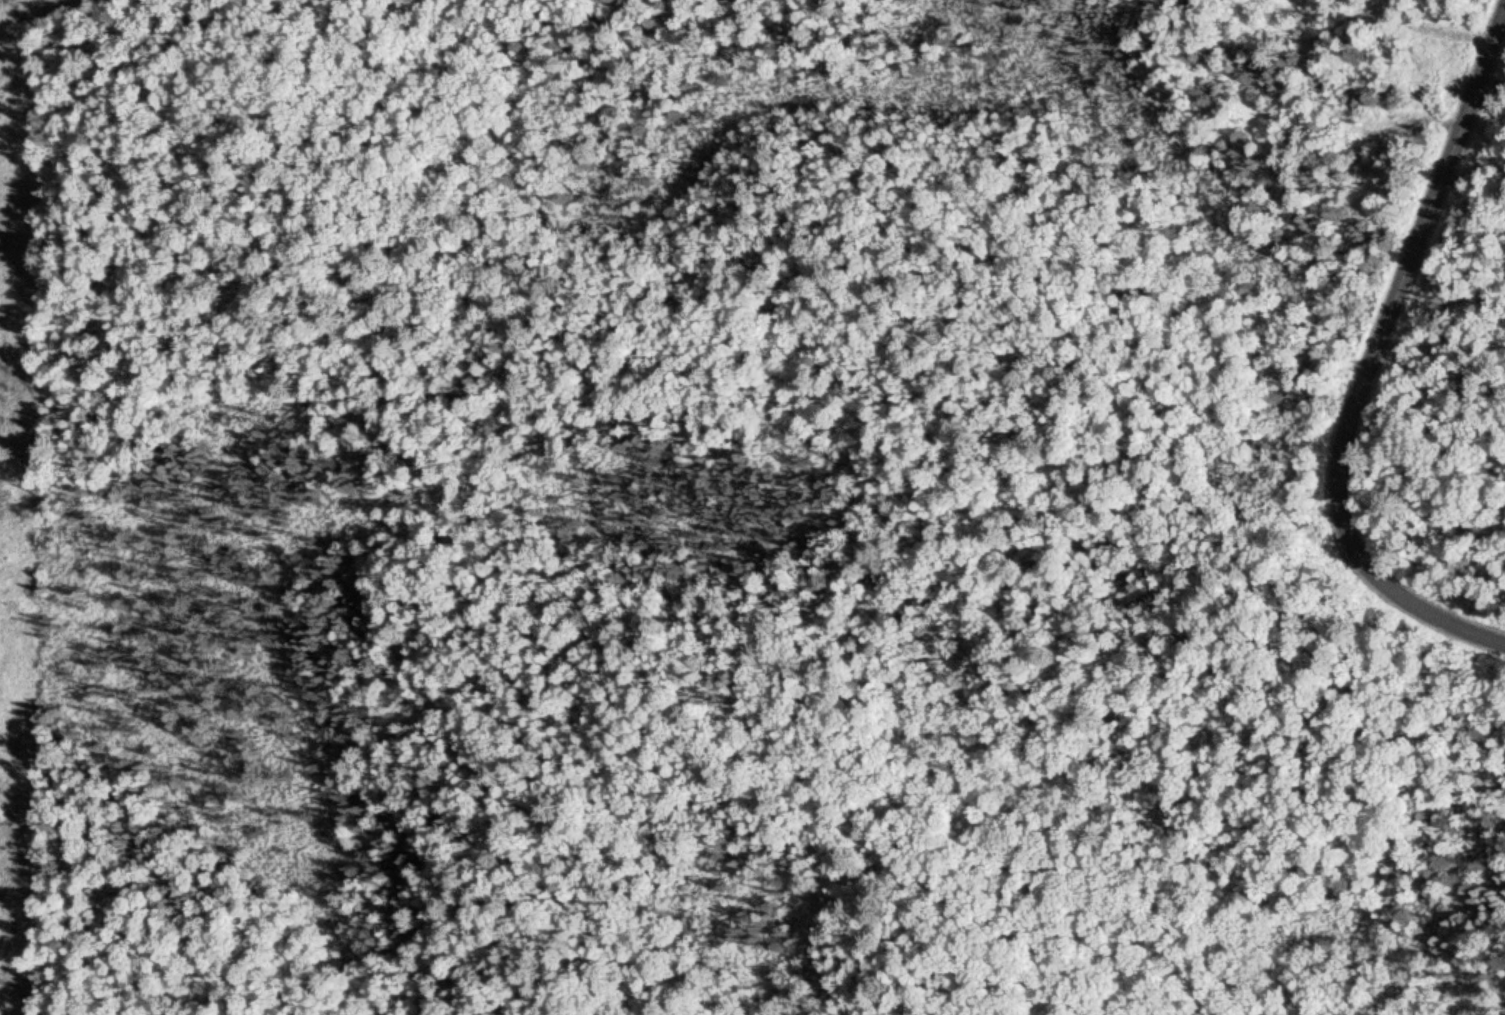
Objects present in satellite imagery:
road: (1371, 362)

